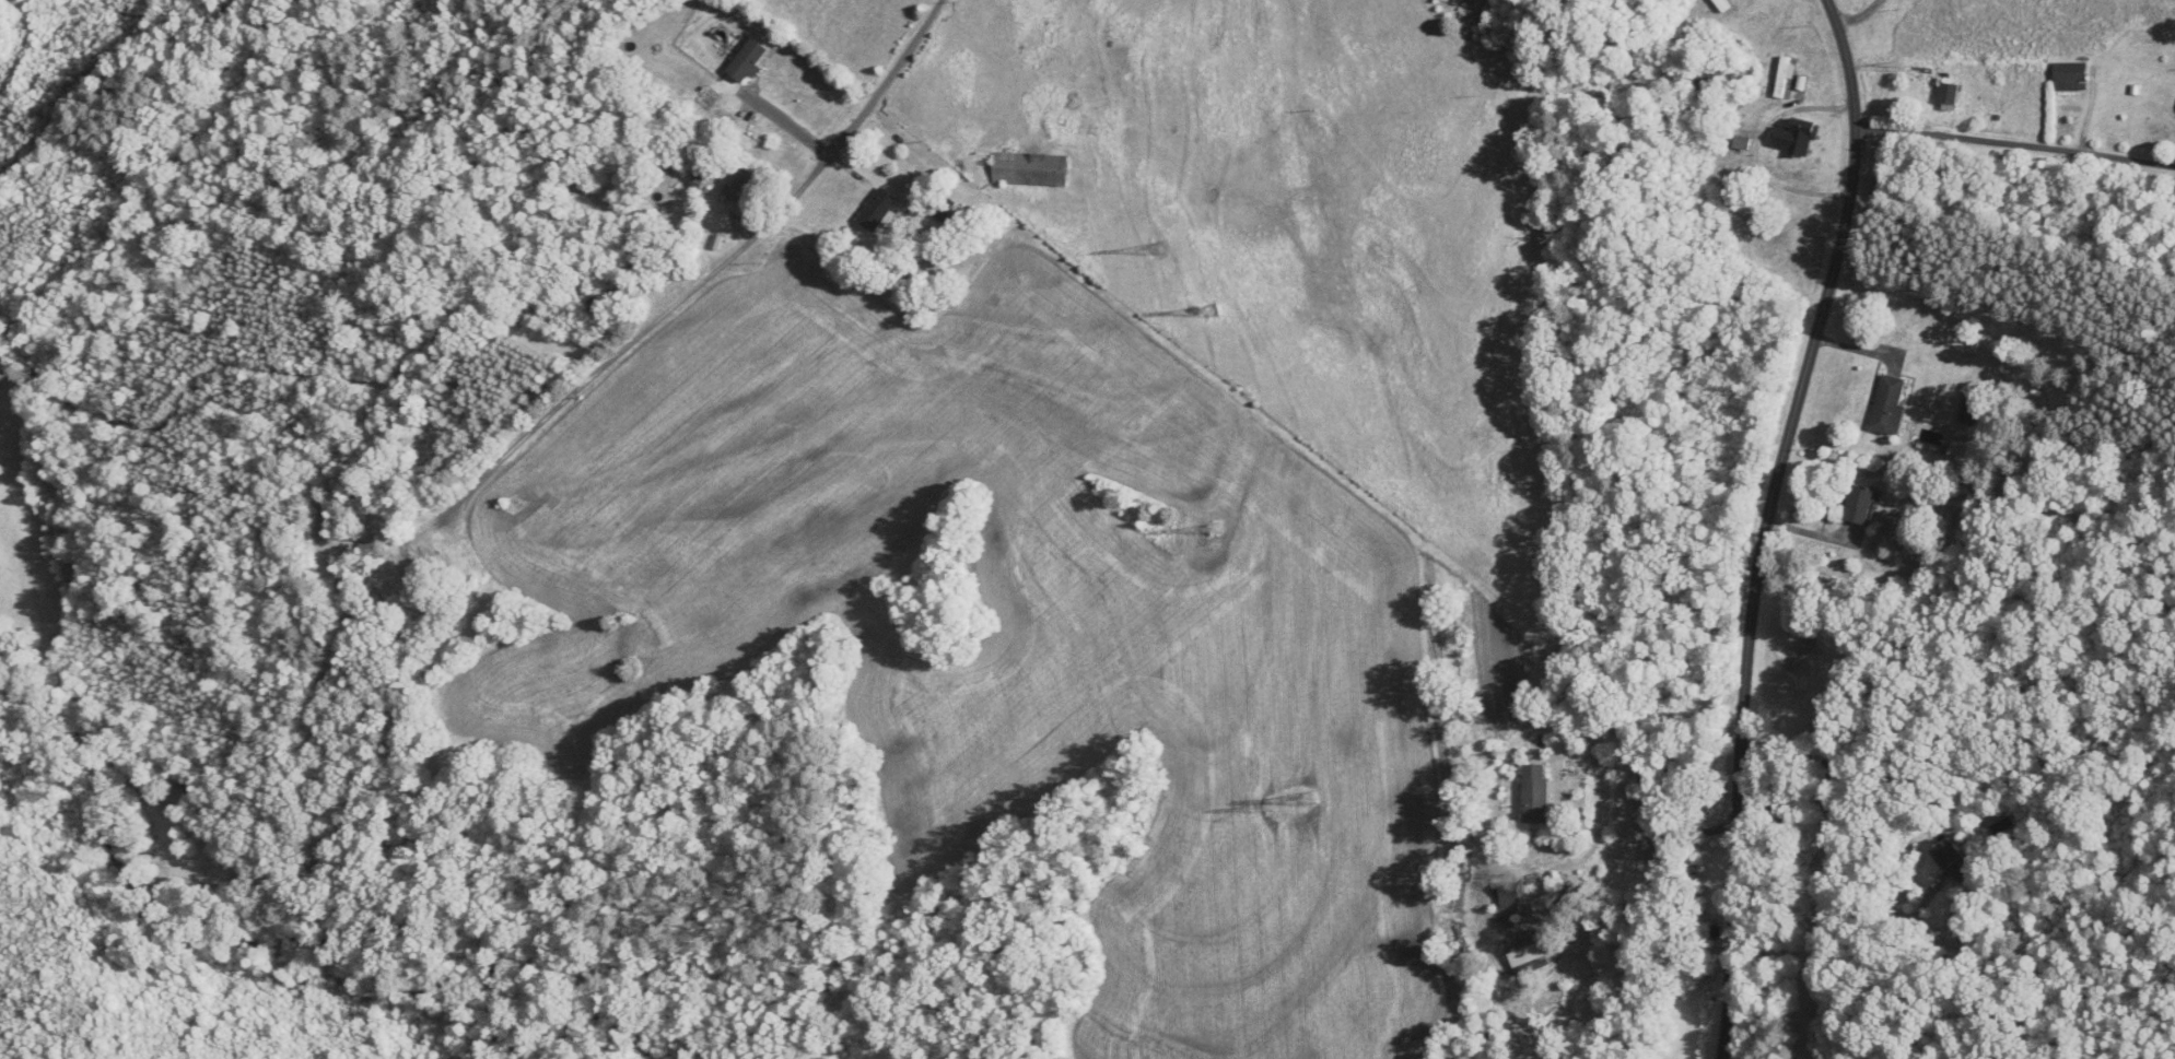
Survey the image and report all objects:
building: (1720, 5)
road: (1856, 11)
building: (1636, 58)
building: (748, 60)
building: (1784, 77)
building: (2071, 77)
building: (1703, 82)
building: (1949, 93)
road: (788, 125)
building: (1797, 138)
road: (2015, 144)
road: (1759, 145)
building: (1030, 168)
building: (741, 188)
building: (878, 209)
power tower: (1161, 248)
road: (725, 267)
power tower: (1214, 308)
building: (594, 309)
building: (1890, 404)
building: (1974, 409)
road: (1787, 451)
building: (1861, 504)
building: (400, 586)
road: (1625, 734)
building: (1536, 795)
power tower: (1312, 796)
power tower: (1271, 805)
road: (1720, 827)
road: (1683, 835)
building: (2001, 836)
building: (1953, 860)
building: (1511, 899)
road: (1740, 920)
building: (1527, 950)
road: (1740, 995)

